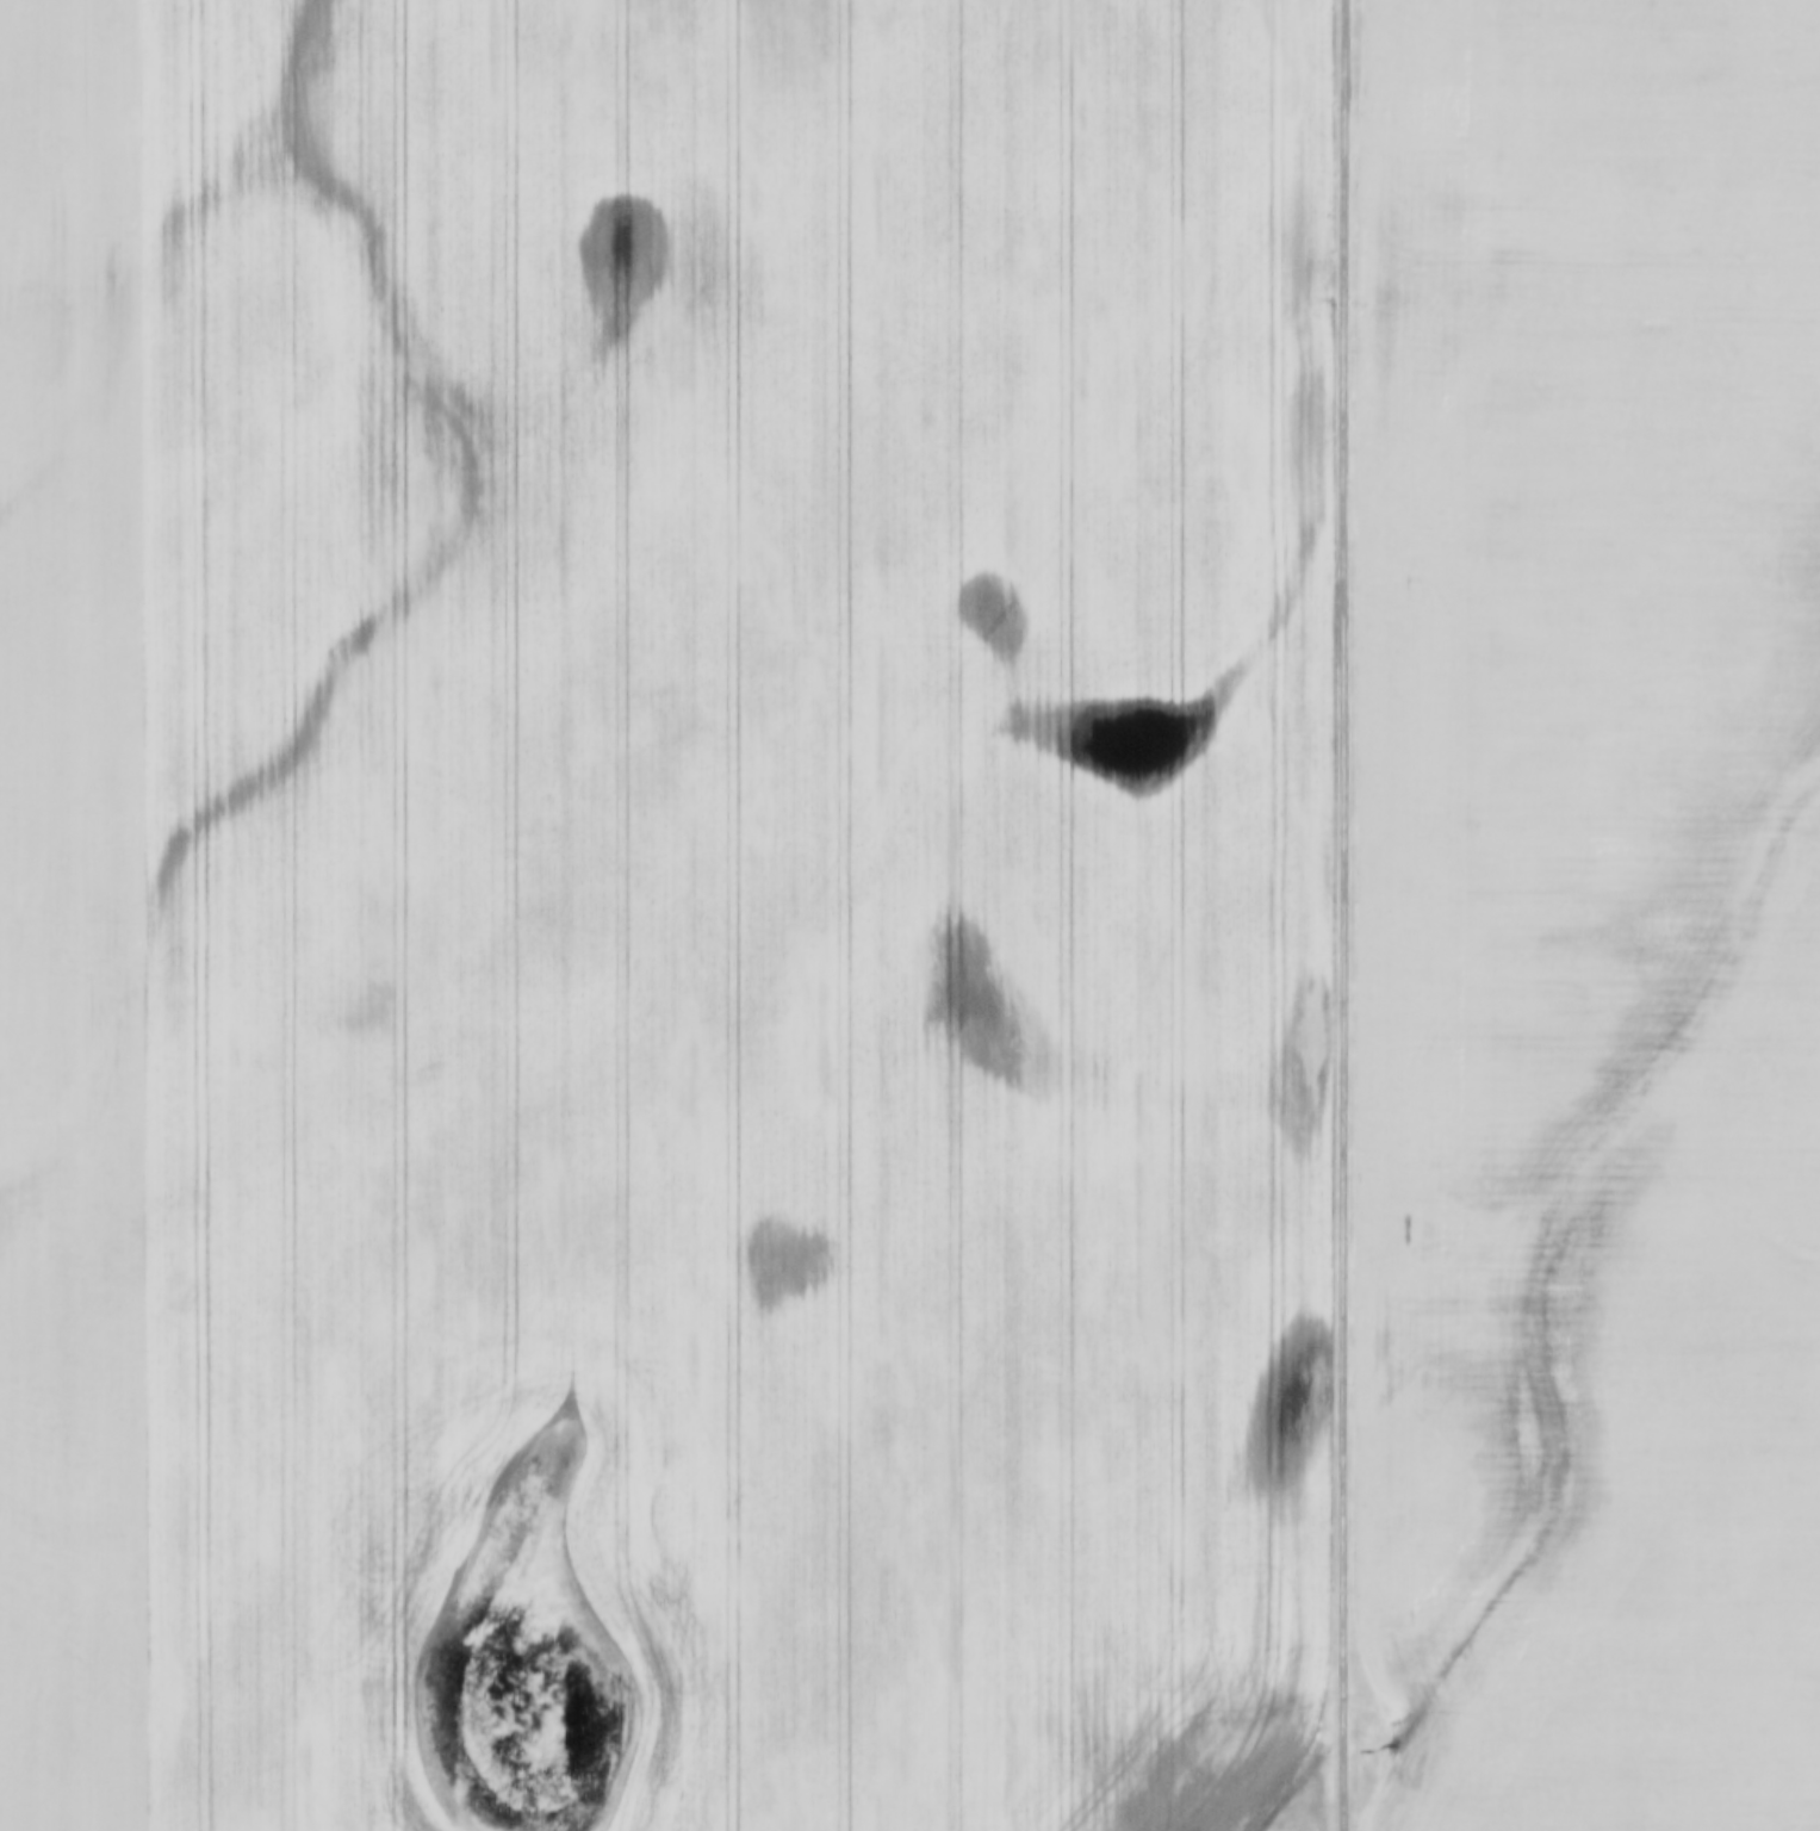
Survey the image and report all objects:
road: (1347, 915)

